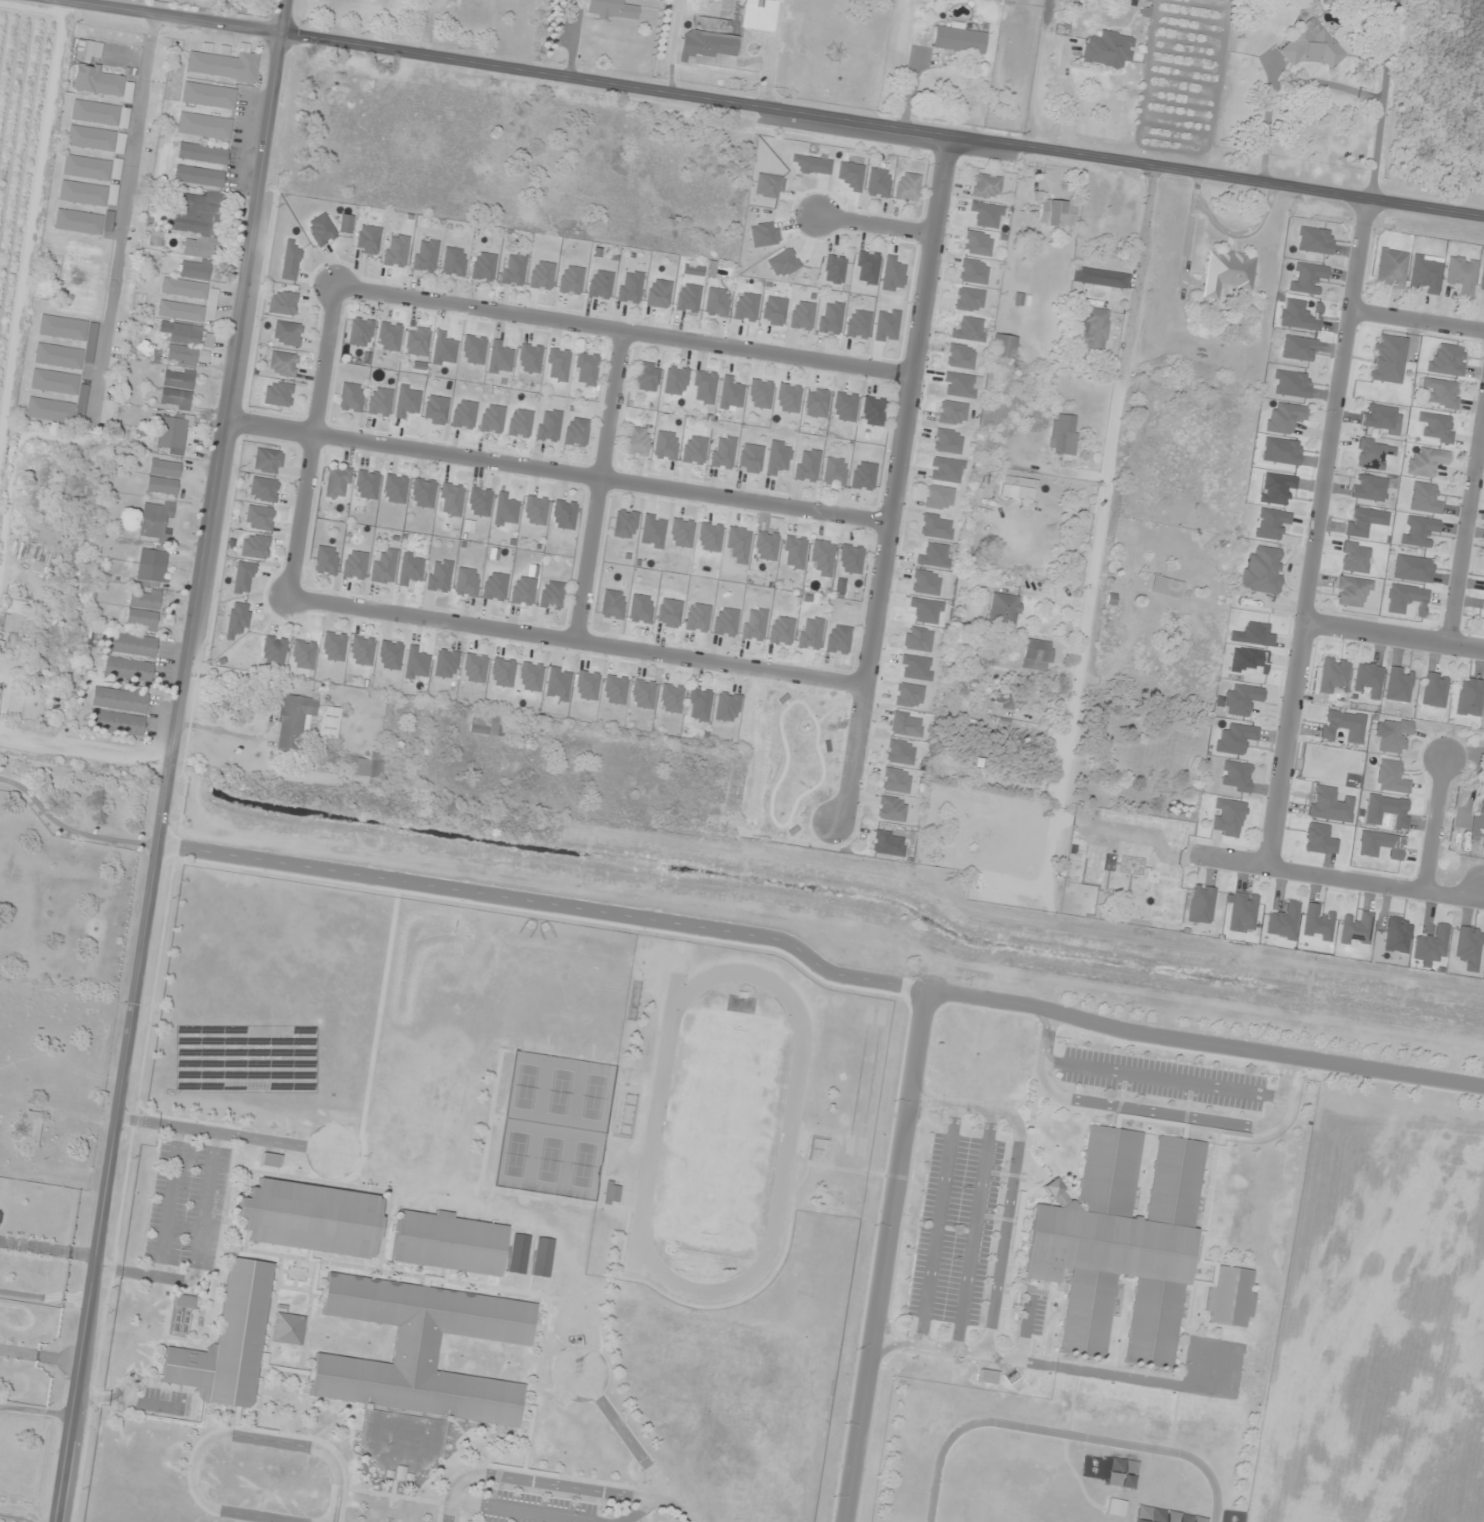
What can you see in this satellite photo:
building: (612, 9)
road: (181, 16)
building: (725, 34)
building: (959, 39)
building: (1311, 46)
building: (1108, 49)
building: (99, 82)
building: (209, 95)
building: (95, 113)
road: (882, 125)
building: (204, 126)
building: (91, 138)
building: (202, 153)
building: (91, 168)
building: (198, 176)
building: (878, 183)
building: (769, 186)
building: (986, 186)
building: (907, 187)
building: (82, 193)
building: (1057, 213)
building: (78, 222)
building: (197, 222)
road: (876, 225)
building: (321, 230)
building: (156, 238)
building: (368, 240)
building: (1315, 240)
building: (978, 243)
building: (396, 251)
building: (425, 256)
building: (454, 262)
building: (783, 263)
building: (483, 266)
building: (867, 267)
building: (194, 269)
building: (513, 269)
building: (834, 269)
building: (1390, 269)
building: (1227, 272)
building: (1426, 274)
building: (542, 275)
building: (1461, 275)
building: (1100, 278)
building: (1308, 278)
building: (571, 280)
building: (1482, 281)
building: (600, 284)
building: (630, 287)
building: (659, 293)
building: (688, 298)
building: (969, 300)
building: (717, 302)
building: (171, 303)
building: (283, 303)
building: (746, 307)
building: (774, 311)
building: (802, 315)
building: (1299, 316)
building: (831, 318)
road: (1417, 322)
building: (858, 324)
building: (63, 328)
road: (626, 330)
building: (1094, 331)
building: (361, 332)
building: (287, 334)
building: (417, 341)
building: (186, 346)
building: (1004, 346)
building: (474, 349)
building: (1299, 349)
building: (58, 356)
building: (960, 356)
building: (530, 358)
building: (500, 359)
building: (1387, 359)
building: (1447, 360)
building: (282, 364)
building: (558, 365)
building: (586, 369)
building: (647, 377)
building: (676, 380)
building: (54, 382)
building: (1292, 384)
building: (704, 387)
building: (177, 389)
building: (1442, 393)
building: (278, 394)
building: (760, 394)
building: (351, 397)
building: (789, 398)
building: (380, 402)
building: (817, 403)
building: (844, 407)
building: (58, 409)
building: (436, 410)
building: (873, 411)
building: (952, 413)
building: (464, 415)
building: (1284, 418)
building: (492, 419)
building: (1381, 419)
building: (520, 423)
building: (549, 425)
building: (1437, 427)
building: (173, 431)
building: (577, 432)
building: (1063, 434)
road: (313, 441)
building: (947, 441)
building: (638, 442)
building: (666, 446)
building: (694, 450)
building: (1281, 451)
building: (723, 452)
building: (1374, 453)
building: (751, 459)
building: (267, 461)
building: (1426, 462)
building: (807, 465)
road: (558, 472)
building: (835, 472)
building: (863, 476)
building: (164, 477)
road: (898, 478)
road: (1106, 478)
building: (338, 482)
building: (1020, 482)
building: (367, 484)
road: (601, 486)
building: (1369, 488)
building: (263, 490)
building: (423, 493)
building: (939, 497)
building: (1425, 499)
building: (451, 500)
building: (480, 502)
building: (535, 511)
building: (564, 515)
building: (259, 518)
building: (156, 520)
building: (1365, 521)
building: (625, 524)
building: (936, 527)
building: (1418, 530)
road: (1466, 531)
building: (681, 533)
road: (1318, 533)
building: (710, 537)
building: (739, 544)
building: (255, 546)
building: (766, 546)
building: (794, 552)
building: (823, 557)
building: (1355, 557)
building: (850, 559)
building: (326, 561)
building: (354, 565)
building: (151, 567)
building: (384, 568)
building: (1412, 569)
building: (1262, 571)
building: (439, 576)
building: (467, 582)
building: (1166, 587)
building: (523, 591)
building: (1352, 591)
building: (552, 595)
building: (145, 599)
building: (1406, 599)
building: (612, 605)
building: (641, 609)
building: (1004, 610)
building: (1483, 610)
building: (669, 613)
building: (697, 618)
building: (142, 619)
building: (726, 622)
building: (754, 624)
building: (782, 631)
building: (810, 633)
road: (1394, 637)
building: (838, 639)
building: (918, 639)
road: (578, 643)
building: (132, 644)
building: (334, 647)
building: (274, 650)
building: (362, 651)
building: (3, 652)
building: (1038, 654)
building: (303, 655)
building: (390, 655)
building: (446, 664)
building: (474, 668)
building: (128, 669)
building: (503, 673)
building: (1333, 675)
building: (531, 677)
building: (1369, 680)
building: (558, 684)
building: (1399, 685)
building: (587, 686)
building: (615, 690)
building: (1435, 691)
building: (643, 694)
building: (908, 696)
building: (671, 698)
building: (1470, 698)
building: (120, 700)
building: (1241, 700)
building: (699, 705)
building: (727, 707)
building: (293, 721)
building: (329, 722)
building: (116, 723)
building: (487, 724)
building: (906, 724)
building: (1343, 726)
building: (1394, 736)
building: (1235, 739)
road: (171, 761)
building: (366, 767)
building: (1236, 777)
building: (1390, 777)
building: (896, 781)
building: (892, 809)
building: (1387, 811)
building: (1228, 818)
building: (1478, 820)
road: (1435, 825)
building: (1319, 840)
building: (888, 843)
building: (1380, 845)
road: (1336, 877)
road: (547, 903)
building: (1201, 904)
building: (1243, 912)
building: (1283, 921)
building: (1318, 923)
building: (1357, 931)
building: (1397, 935)
building: (1432, 945)
building: (1469, 948)
road: (1204, 1043)
road: (1163, 1078)
road: (1156, 1112)
road: (165, 1125)
road: (275, 1142)
building: (270, 1161)
building: (611, 1193)
road: (169, 1202)
building: (0, 1210)
building: (311, 1219)
road: (938, 1225)
road: (974, 1231)
road: (1004, 1236)
building: (448, 1244)
building: (1120, 1245)
road: (198, 1254)
building: (518, 1255)
road: (885, 1256)
building: (542, 1258)
building: (1230, 1298)
building: (183, 1302)
road: (1025, 1328)
building: (287, 1330)
building: (227, 1342)
building: (423, 1351)
road: (1088, 1371)
building: (987, 1377)
road: (225, 1435)
road: (626, 1436)
road: (557, 1484)
parking lot: (533, 1508)
building: (1115, 1508)
road: (521, 1511)
road: (638, 1511)
road: (333, 1515)

